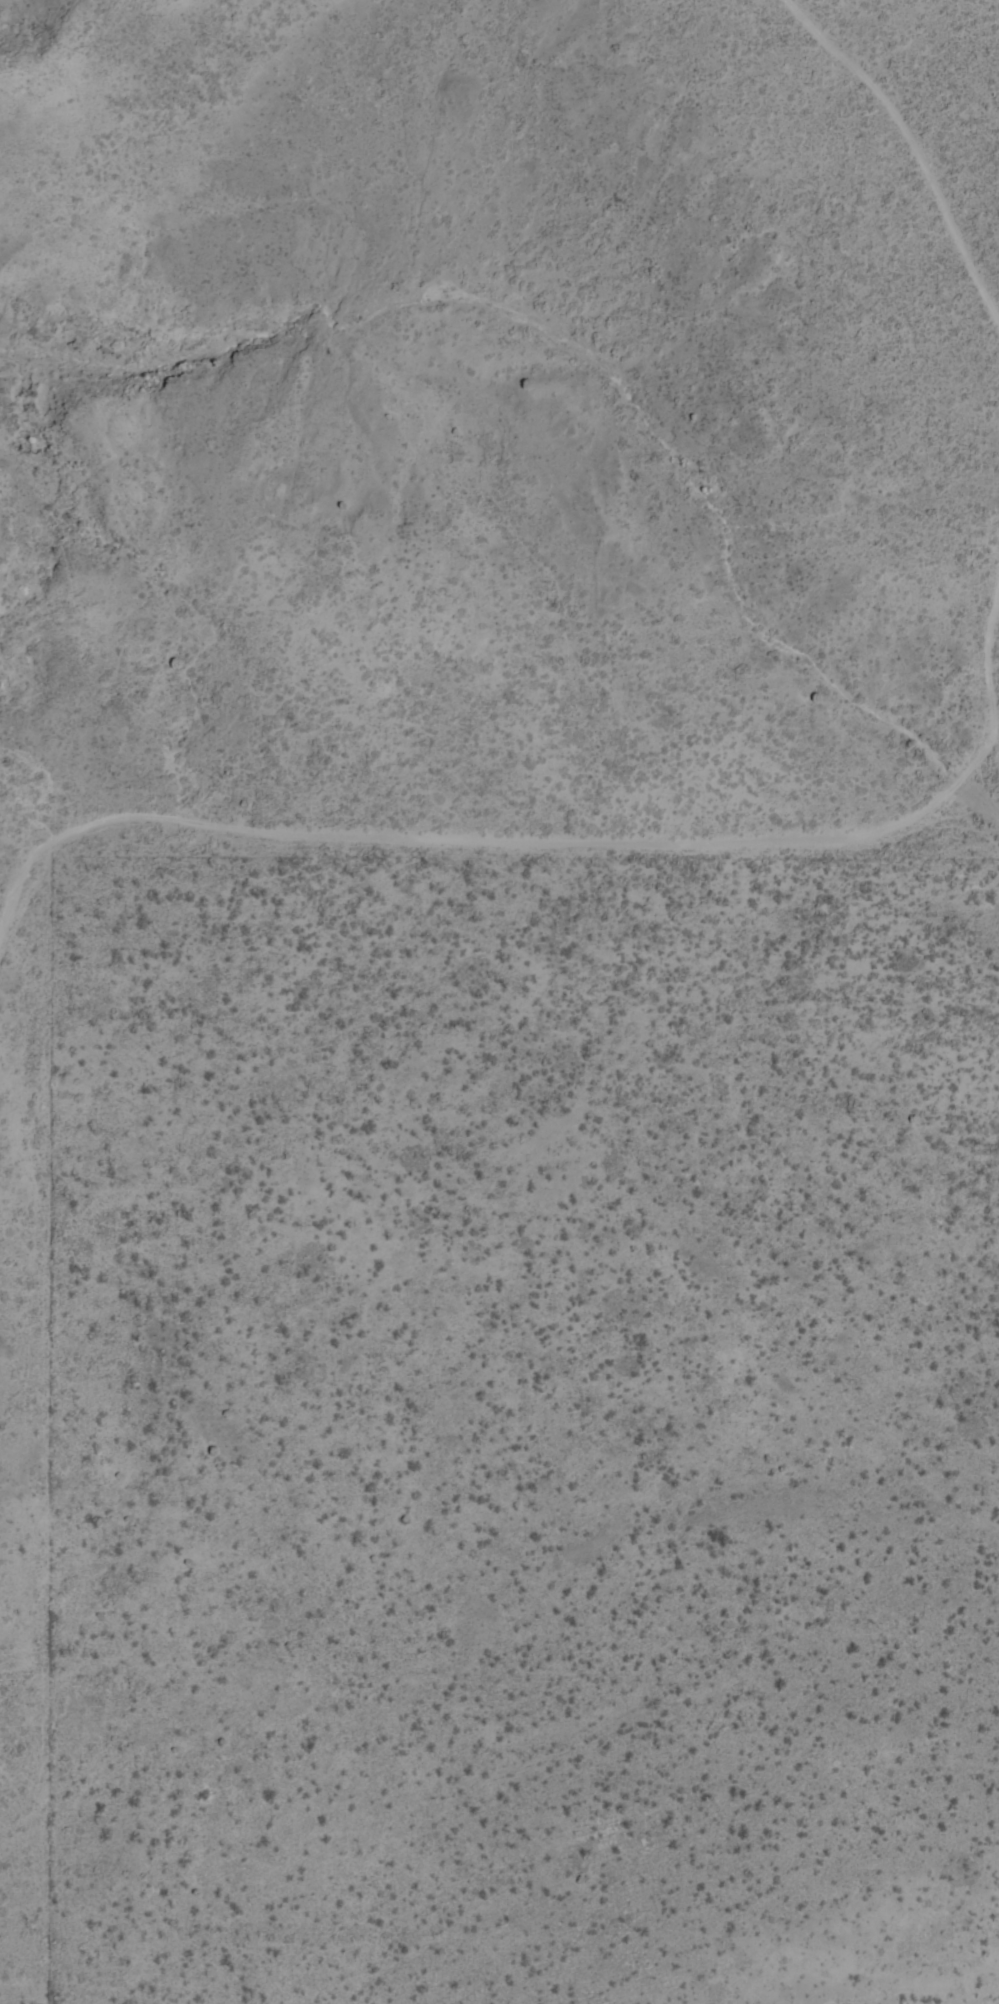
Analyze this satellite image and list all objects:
road: (499, 842)

